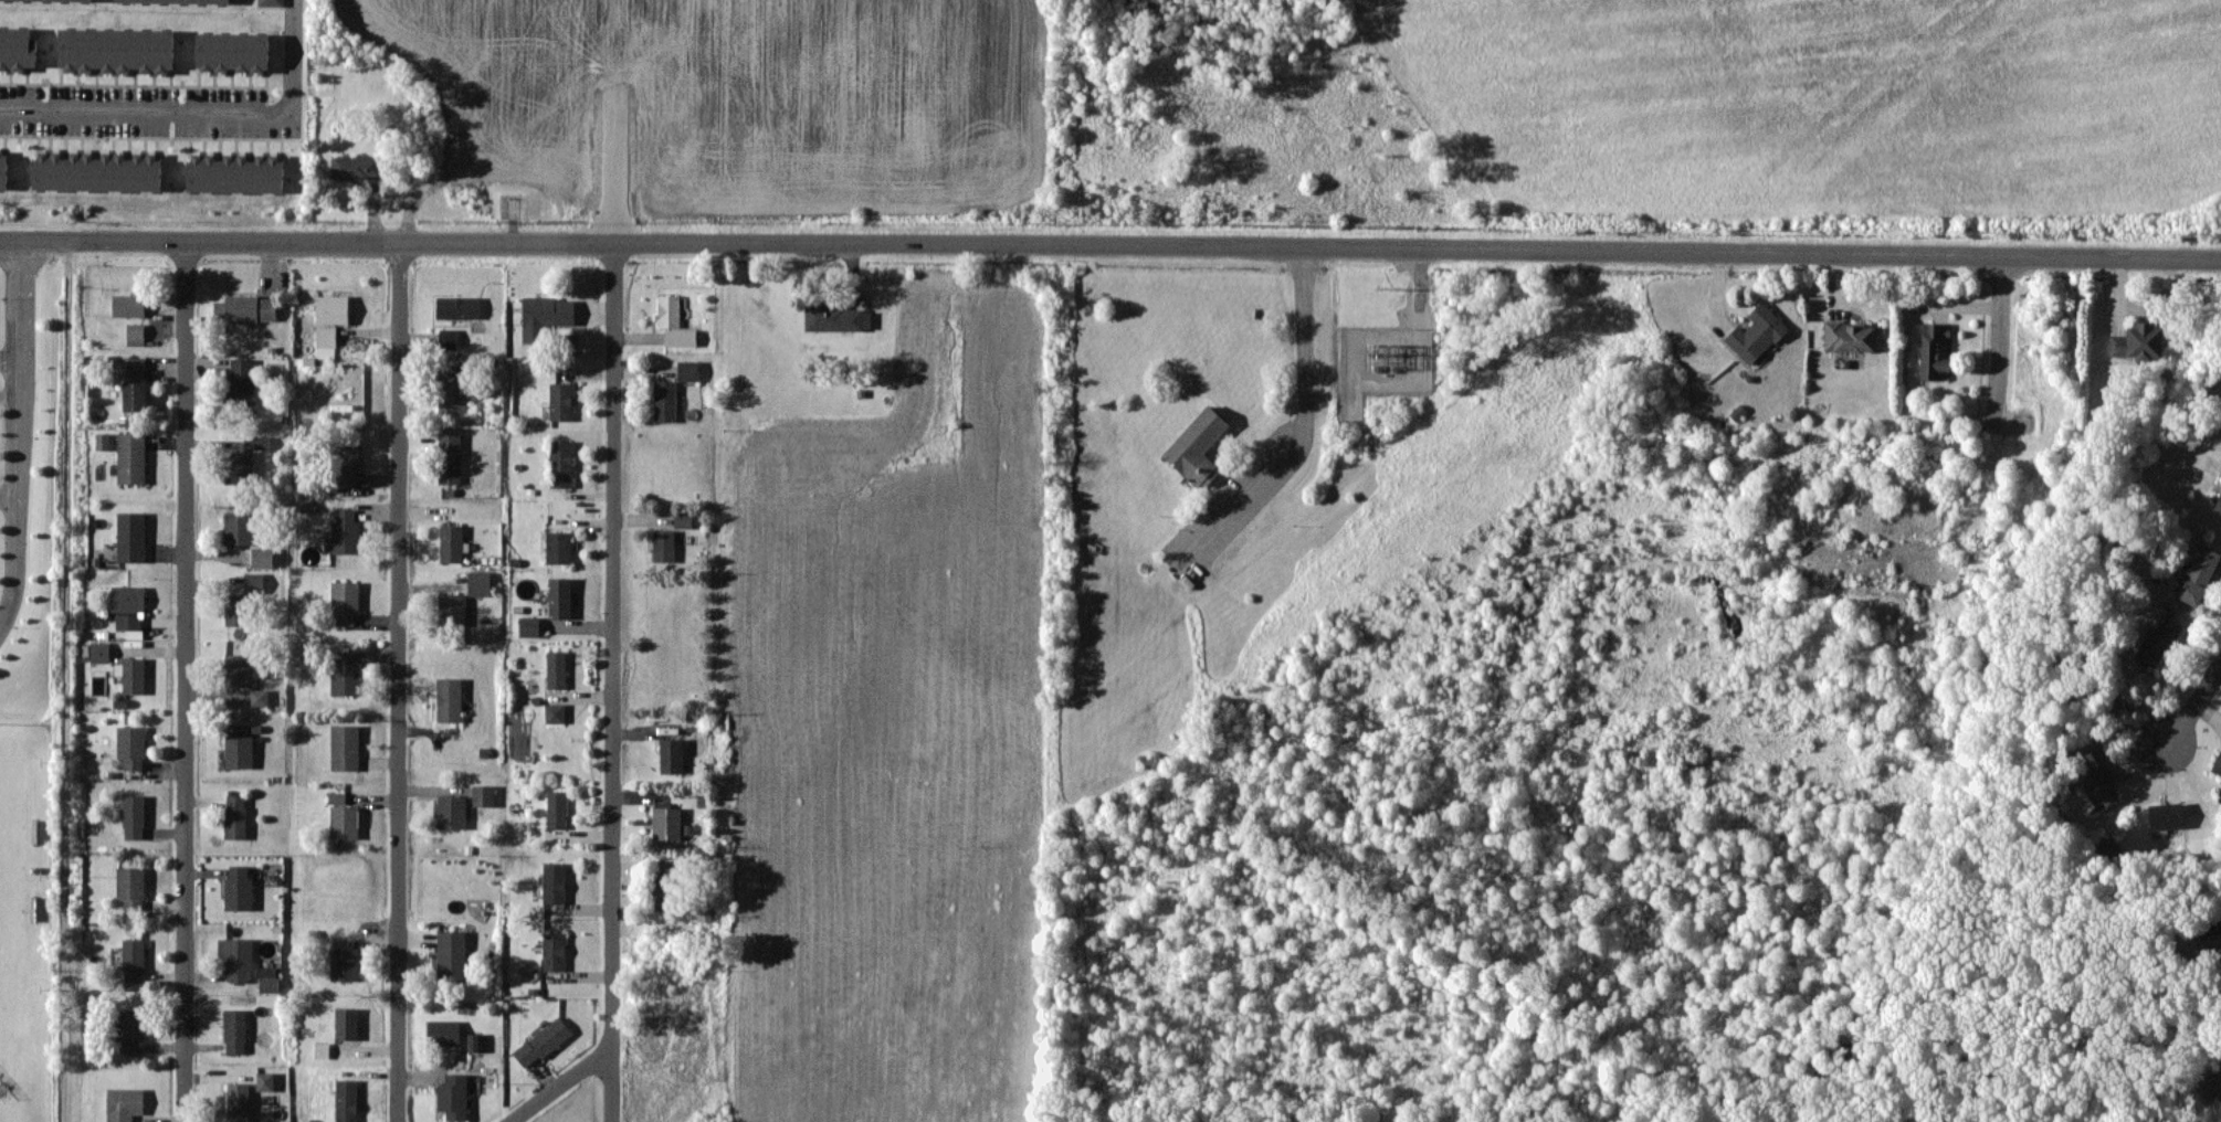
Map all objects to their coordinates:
building: (63, 0)
building: (173, 1)
building: (271, 2)
building: (17, 49)
building: (116, 50)
building: (233, 51)
road: (199, 113)
building: (355, 167)
building: (3, 169)
building: (97, 170)
building: (235, 172)
road: (1110, 248)
building: (129, 305)
building: (459, 307)
building: (245, 309)
building: (333, 309)
building: (669, 310)
building: (546, 315)
building: (838, 318)
building: (136, 334)
building: (1757, 334)
building: (681, 337)
building: (1853, 337)
building: (449, 338)
road: (2000, 339)
building: (326, 341)
building: (2137, 341)
building: (1935, 350)
road: (10, 360)
building: (687, 370)
building: (133, 381)
building: (241, 383)
building: (453, 395)
building: (560, 401)
building: (665, 401)
road: (1306, 410)
road: (19, 434)
building: (103, 441)
building: (261, 442)
building: (1198, 447)
building: (131, 457)
building: (450, 457)
building: (347, 462)
building: (561, 463)
building: (239, 467)
road: (9, 493)
building: (2218, 505)
building: (683, 519)
building: (240, 528)
building: (346, 532)
building: (131, 537)
building: (452, 542)
building: (664, 544)
building: (559, 547)
building: (262, 557)
building: (2198, 575)
building: (254, 582)
building: (480, 582)
building: (560, 597)
building: (128, 599)
building: (346, 602)
building: (453, 607)
building: (236, 608)
building: (128, 621)
building: (529, 626)
building: (135, 634)
building: (2158, 639)
building: (99, 652)
building: (238, 669)
building: (556, 669)
building: (344, 673)
building: (131, 675)
road: (400, 680)
road: (186, 681)
road: (613, 684)
building: (260, 697)
building: (450, 699)
road: (2193, 710)
building: (555, 712)
building: (131, 745)
building: (239, 747)
building: (345, 747)
building: (672, 755)
building: (2218, 763)
building: (2090, 777)
building: (484, 795)
building: (337, 797)
building: (557, 808)
building: (452, 812)
building: (2166, 815)
building: (134, 816)
building: (235, 816)
building: (347, 822)
building: (667, 823)
park: (12, 868)
building: (555, 882)
building: (663, 885)
building: (131, 887)
building: (239, 888)
building: (2212, 941)
building: (554, 951)
building: (452, 954)
building: (236, 957)
building: (134, 960)
building: (345, 963)
building: (269, 978)
building: (347, 1023)
building: (129, 1029)
building: (235, 1030)
building: (444, 1033)
building: (475, 1041)
building: (543, 1041)
building: (322, 1049)
building: (265, 1081)
road: (562, 1087)
building: (454, 1095)
building: (346, 1100)
building: (239, 1102)
building: (125, 1103)

